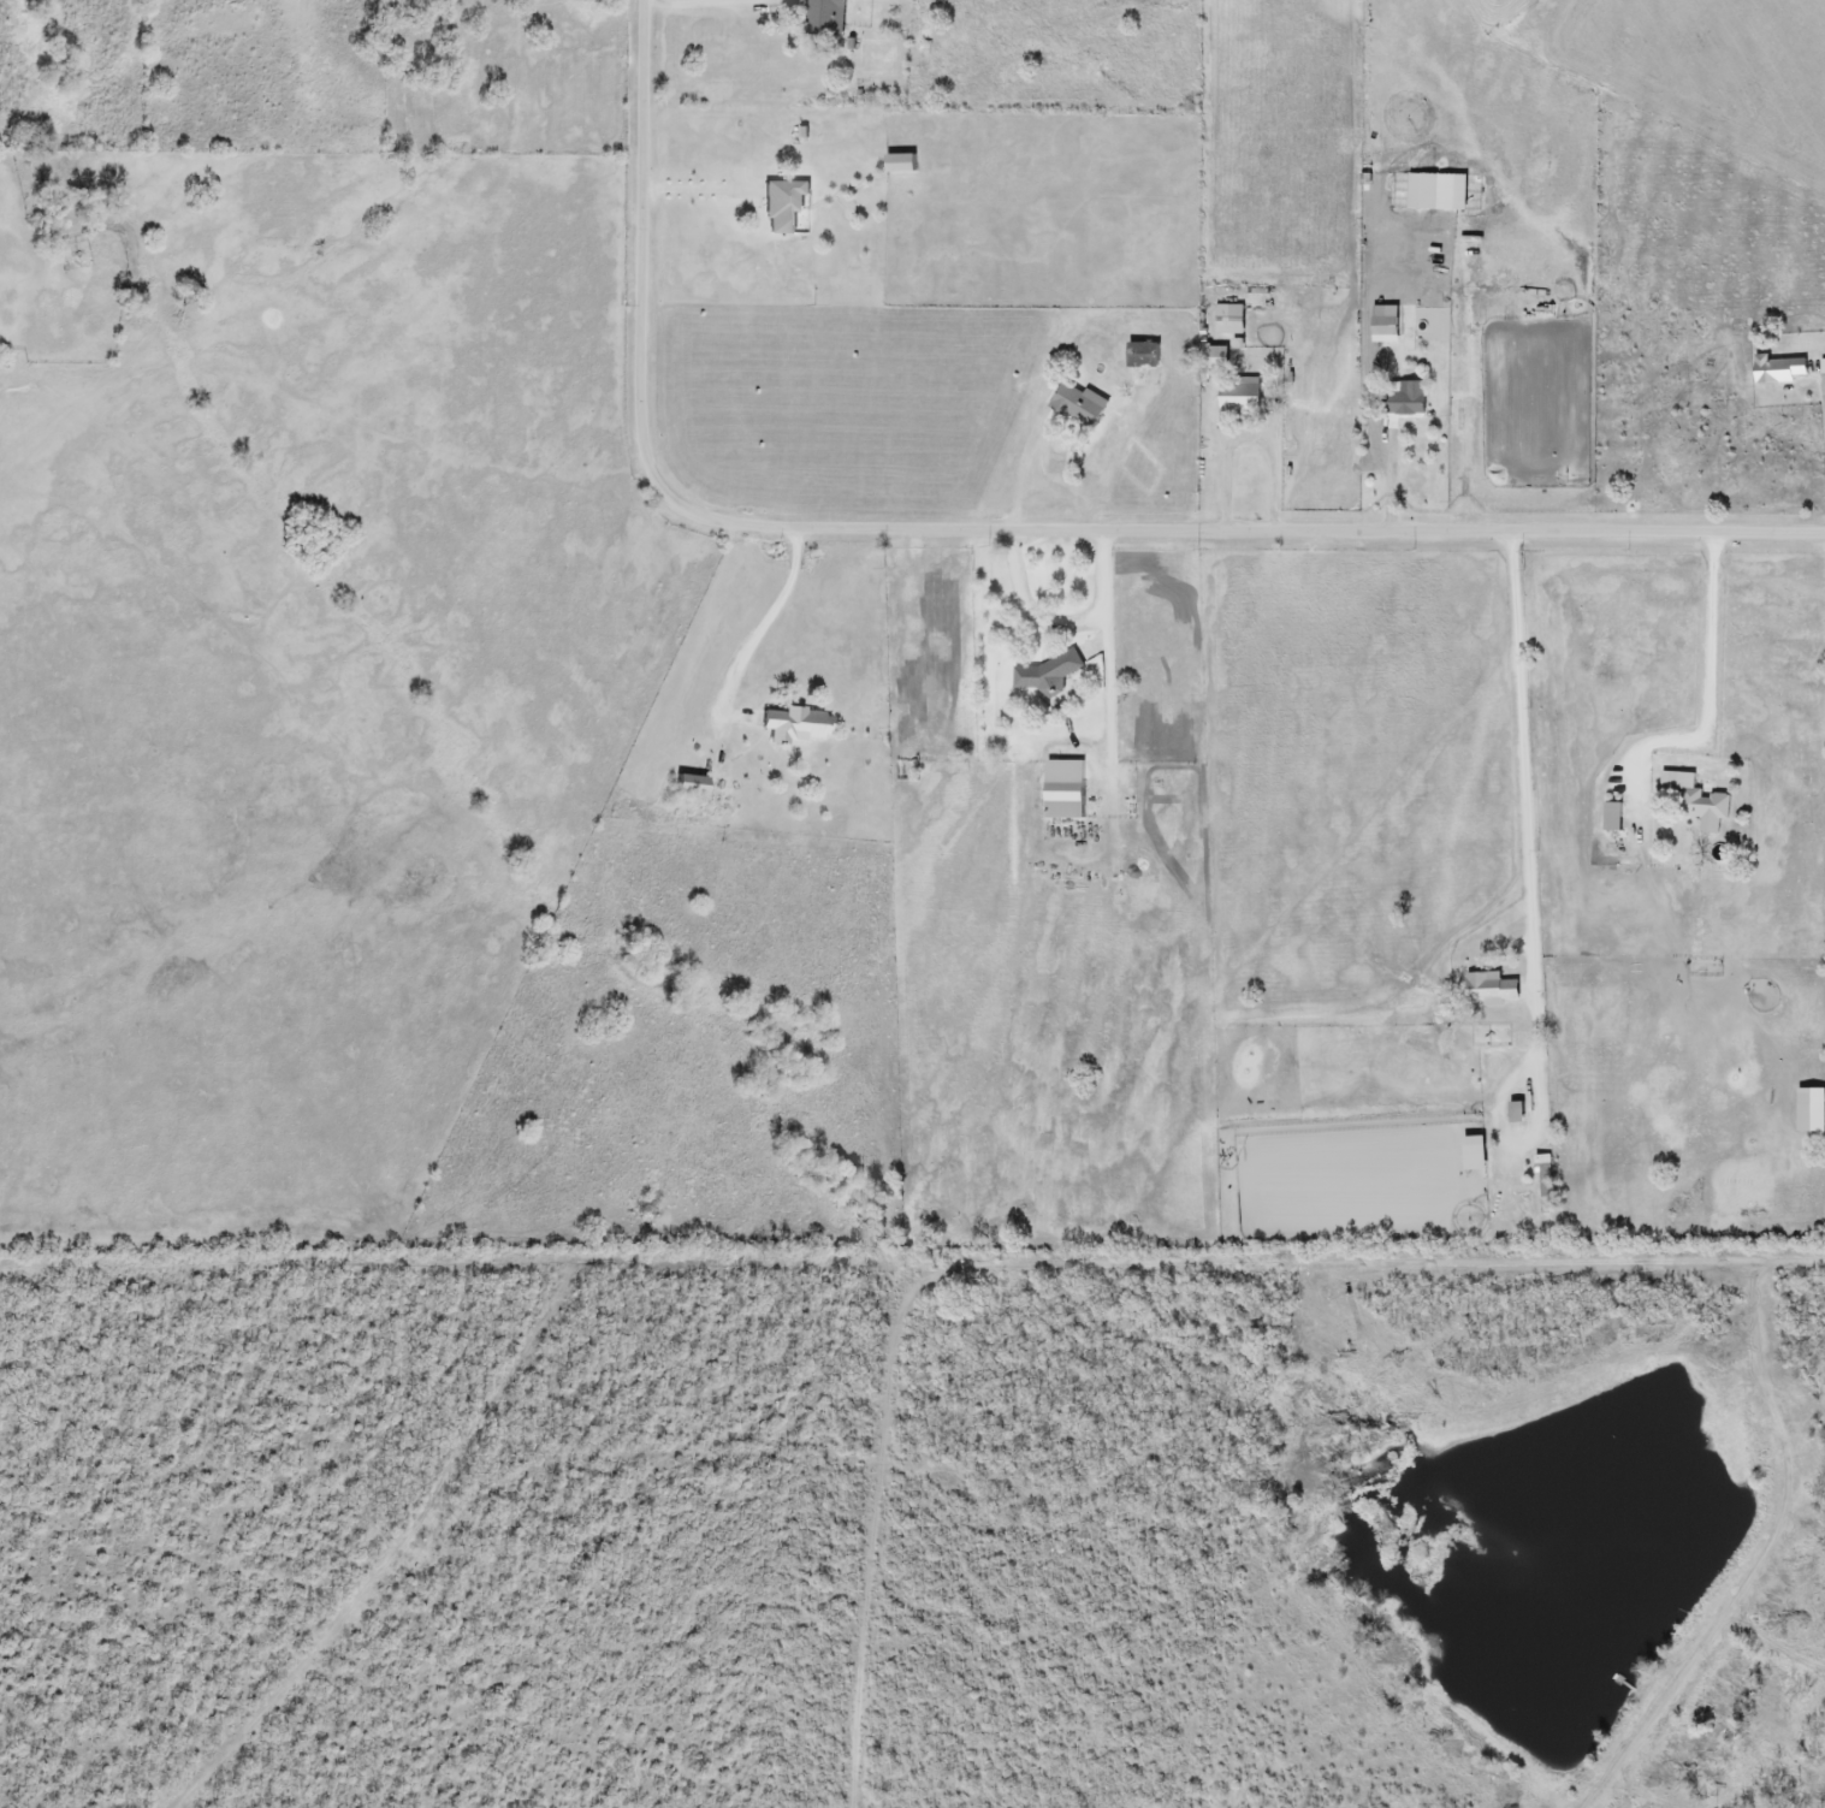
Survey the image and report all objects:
road: (709, 4)
building: (825, 18)
building: (899, 164)
road: (701, 190)
building: (782, 206)
building: (1228, 320)
building: (1383, 326)
building: (1142, 356)
building: (1777, 371)
building: (1238, 397)
building: (1409, 401)
building: (1078, 405)
road: (1250, 440)
road: (1393, 480)
road: (1056, 486)
road: (990, 535)
road: (1032, 616)
road: (768, 626)
road: (1112, 665)
road: (1710, 687)
building: (792, 727)
building: (688, 786)
building: (1062, 802)
building: (1696, 807)
building: (1611, 818)
road: (1531, 900)
building: (1489, 991)

